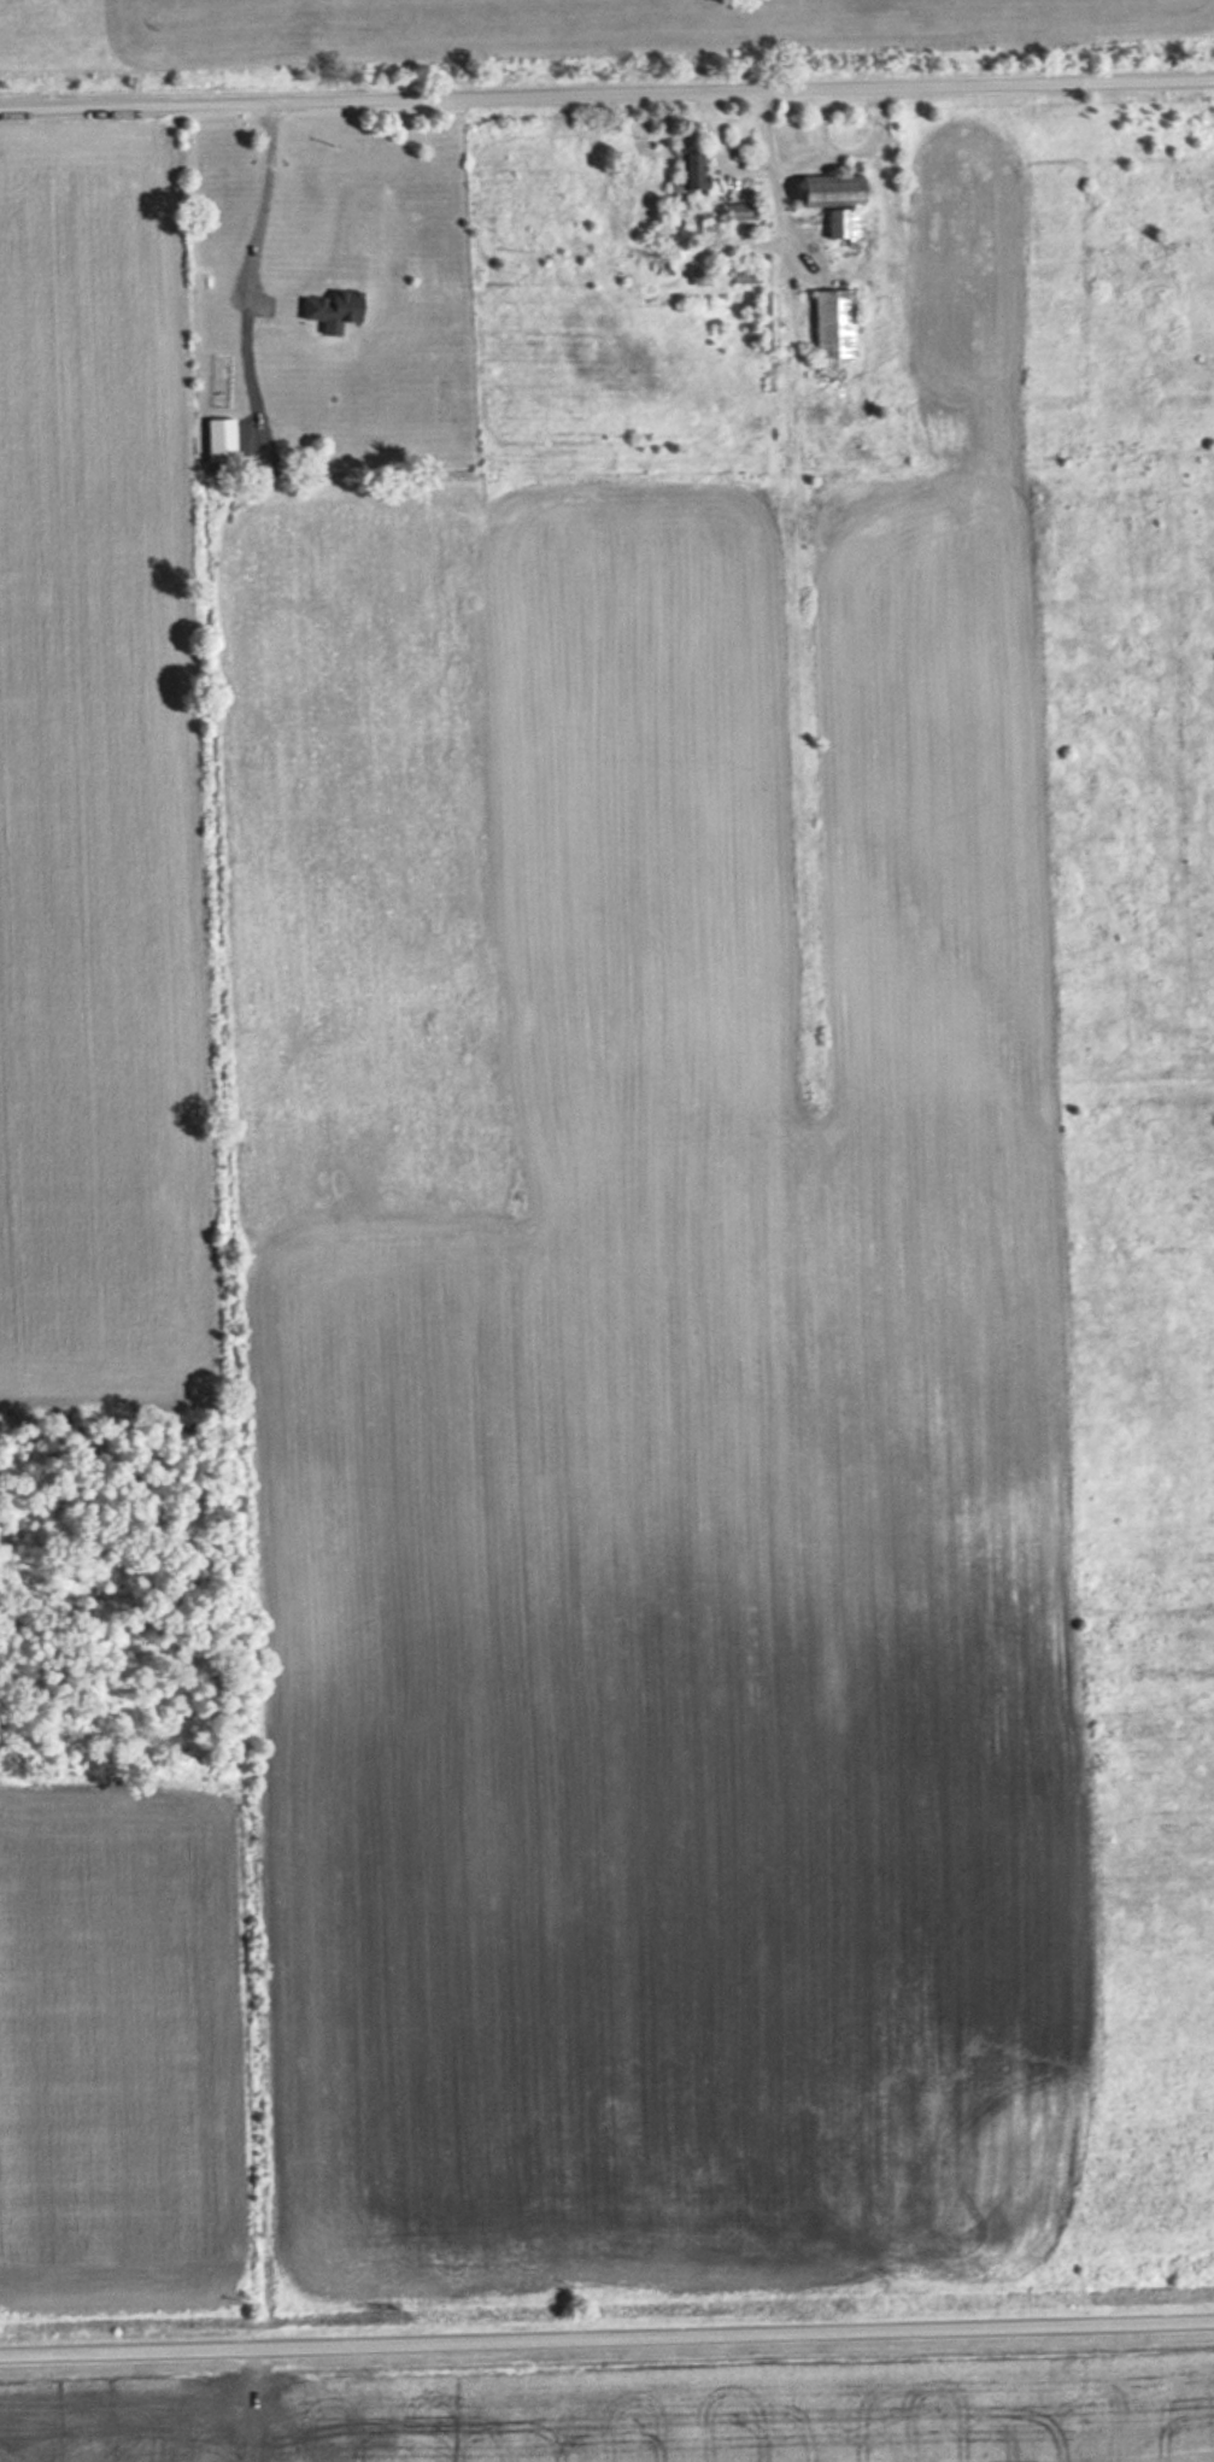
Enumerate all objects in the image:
road: (606, 90)
building: (843, 188)
road: (264, 195)
building: (849, 223)
building: (341, 306)
building: (840, 323)
road: (606, 2333)
road: (251, 2402)

